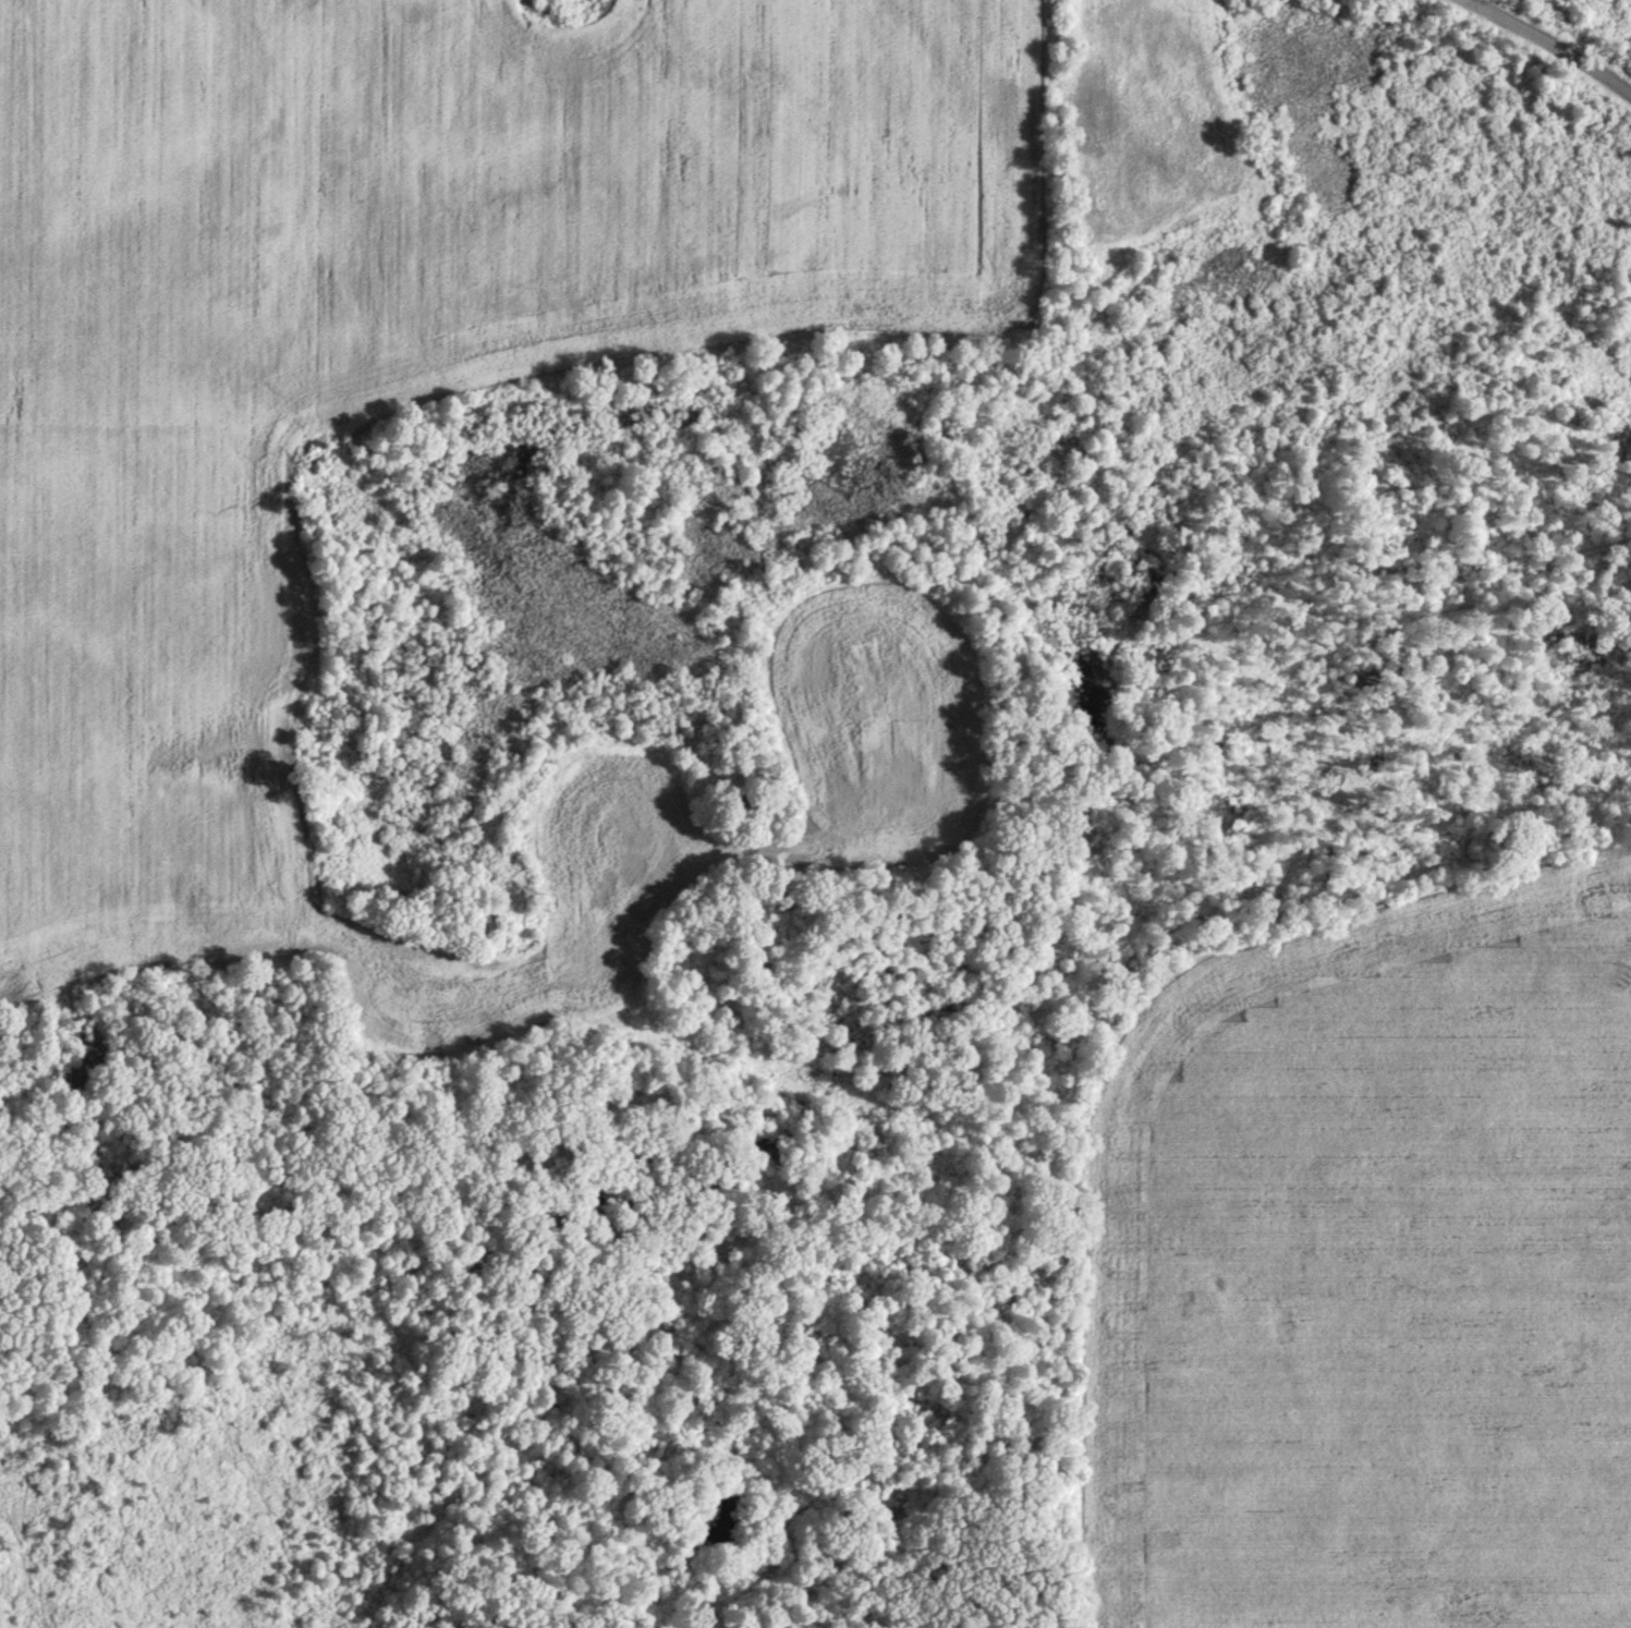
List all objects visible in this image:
road: (1553, 44)

